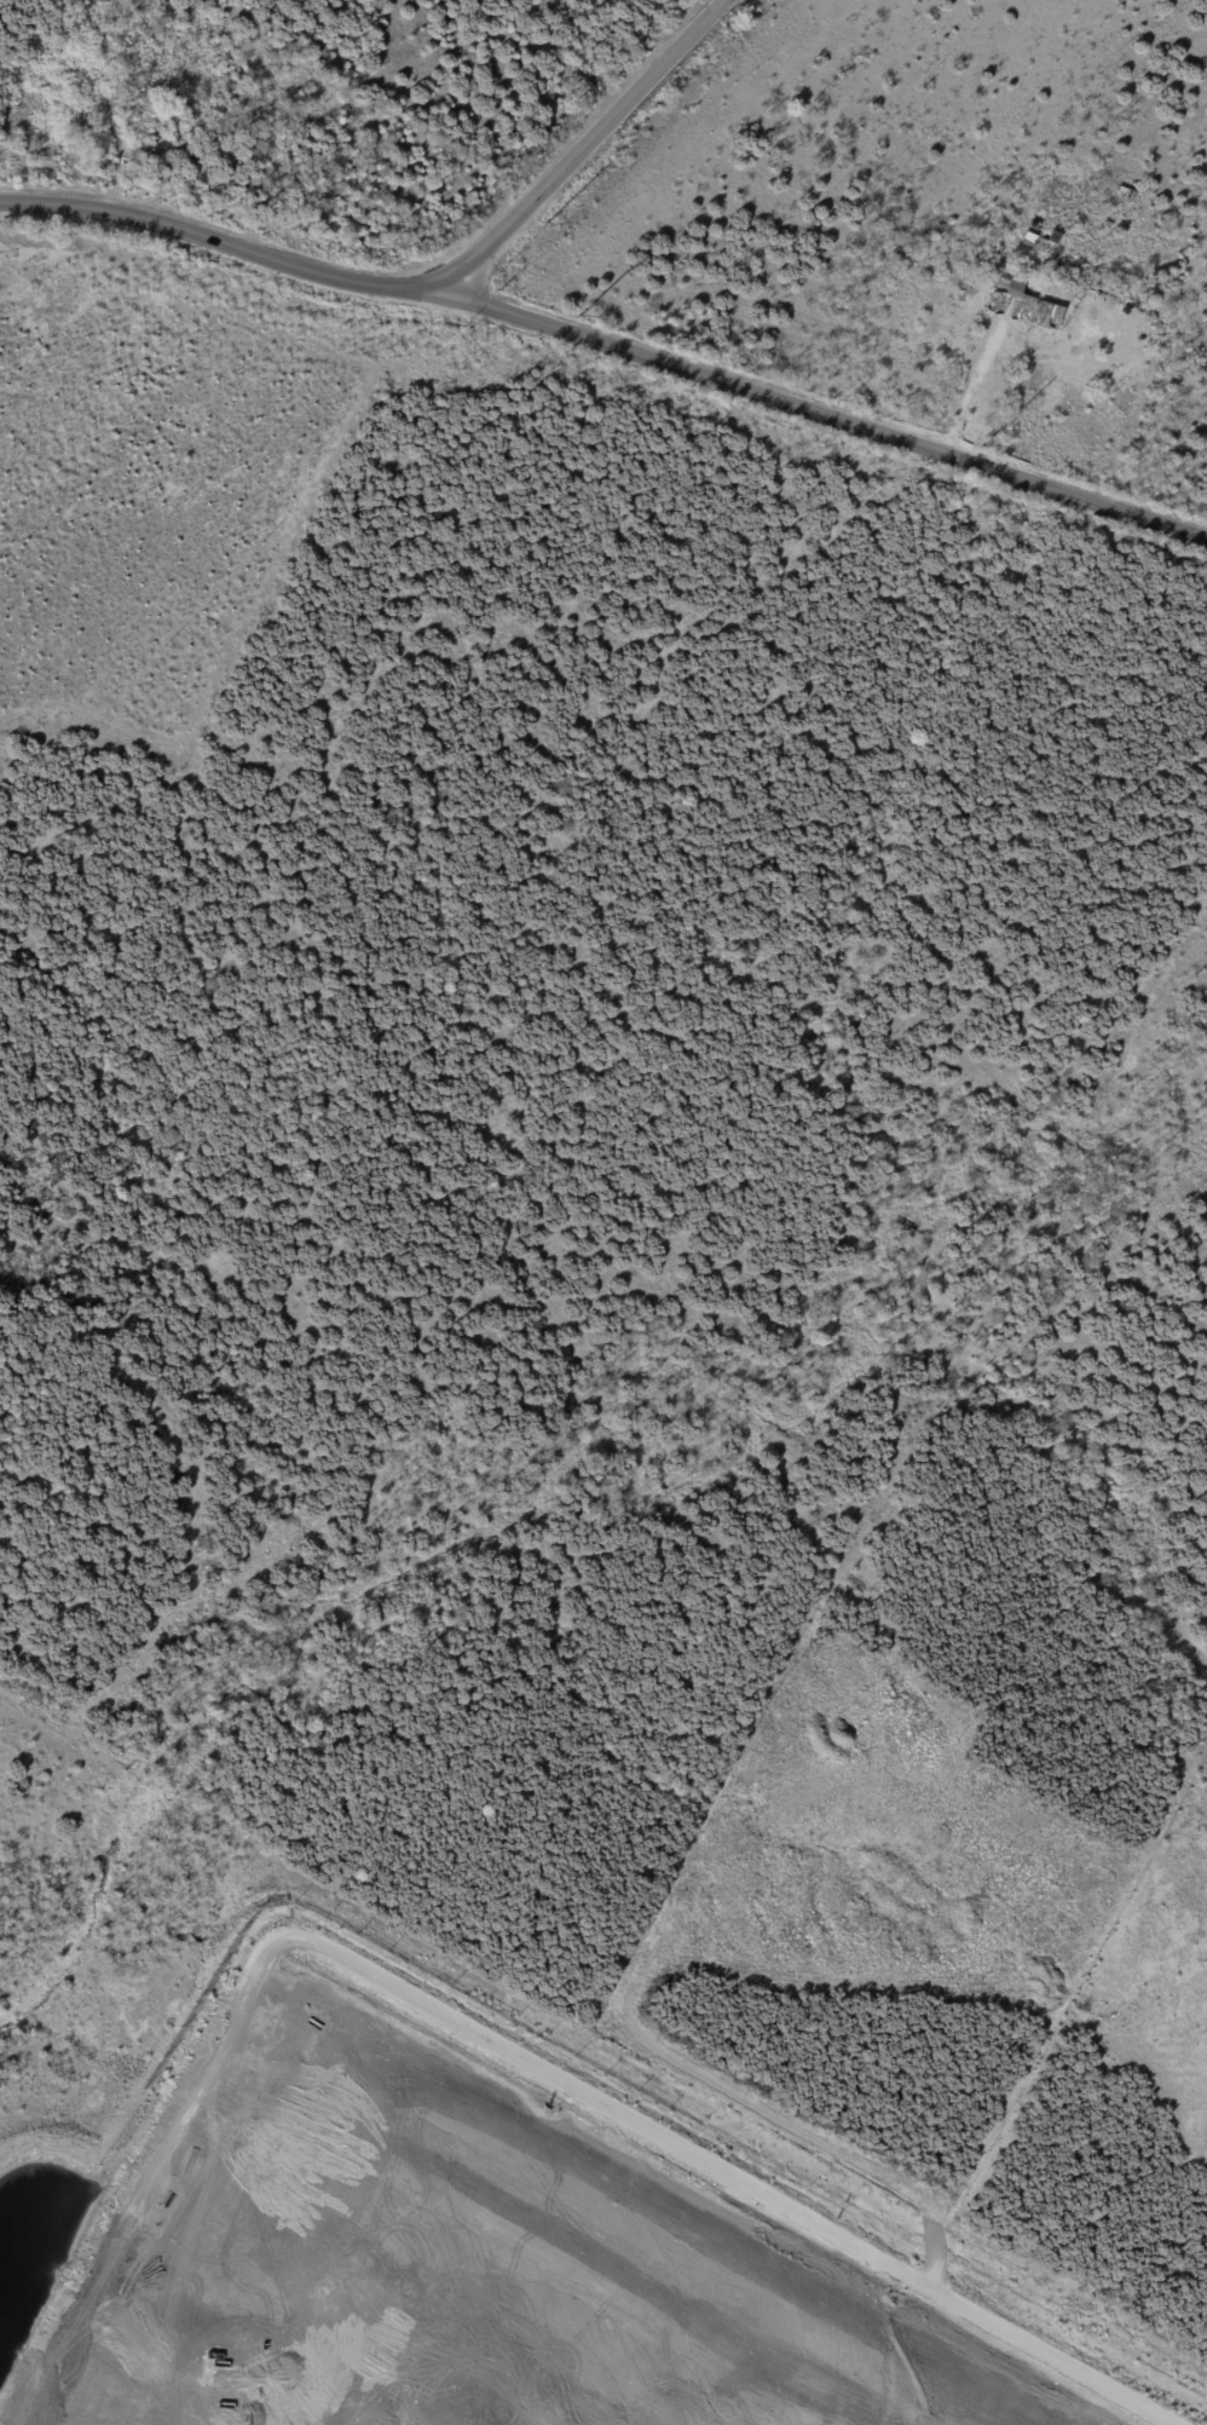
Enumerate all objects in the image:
road: (578, 146)
building: (1124, 196)
building: (1045, 242)
building: (1065, 286)
building: (1028, 303)
road: (608, 347)
road: (976, 390)
landfill: (460, 2242)

